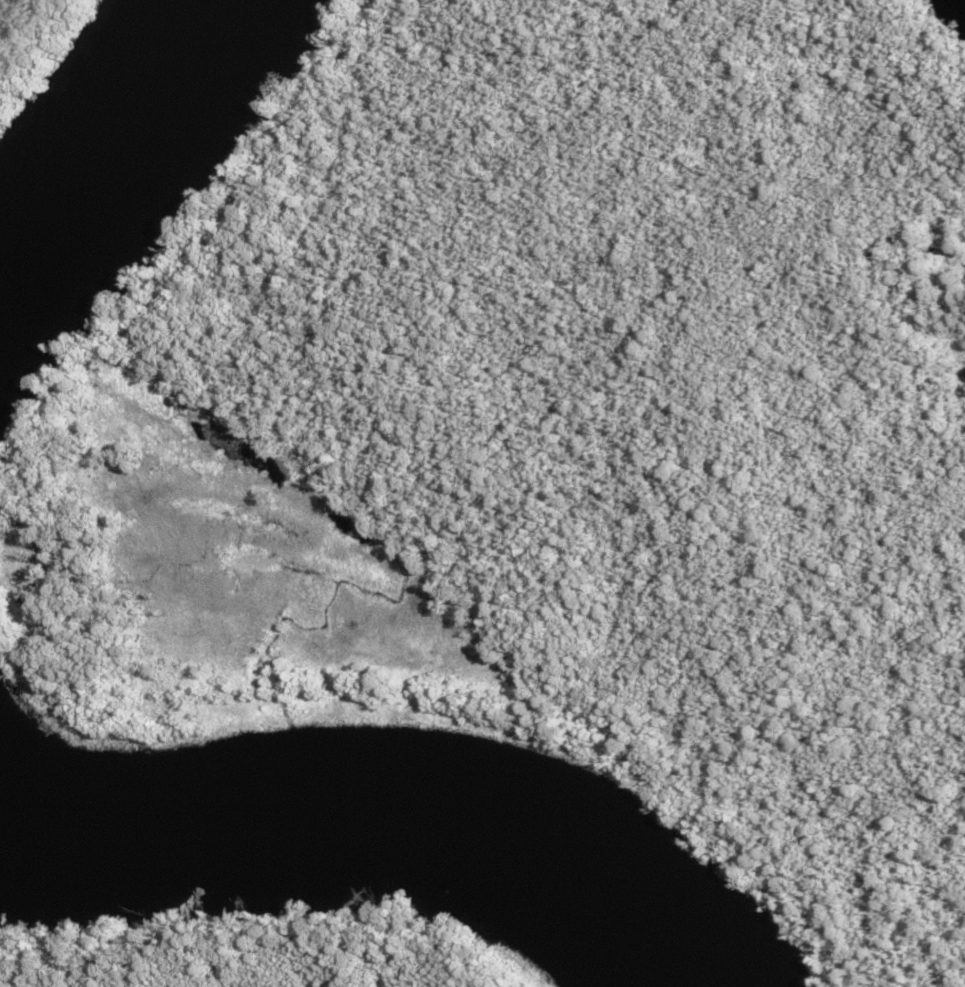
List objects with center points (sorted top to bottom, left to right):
river: (116, 155)
river: (373, 843)

